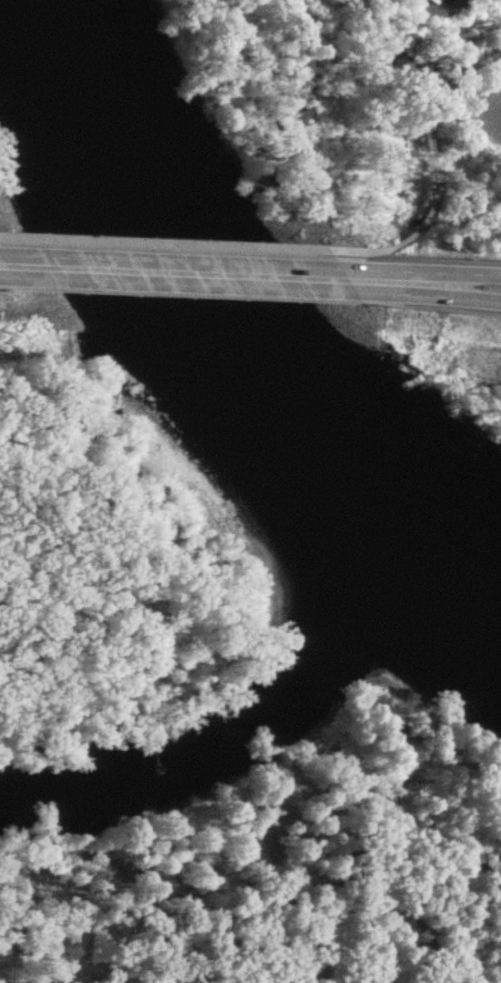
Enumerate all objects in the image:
road: (493, 109)
road: (432, 162)
road: (163, 243)
road: (1, 265)
road: (179, 273)
road: (428, 278)
road: (428, 290)
river: (222, 335)
river: (249, 725)
park: (320, 926)

